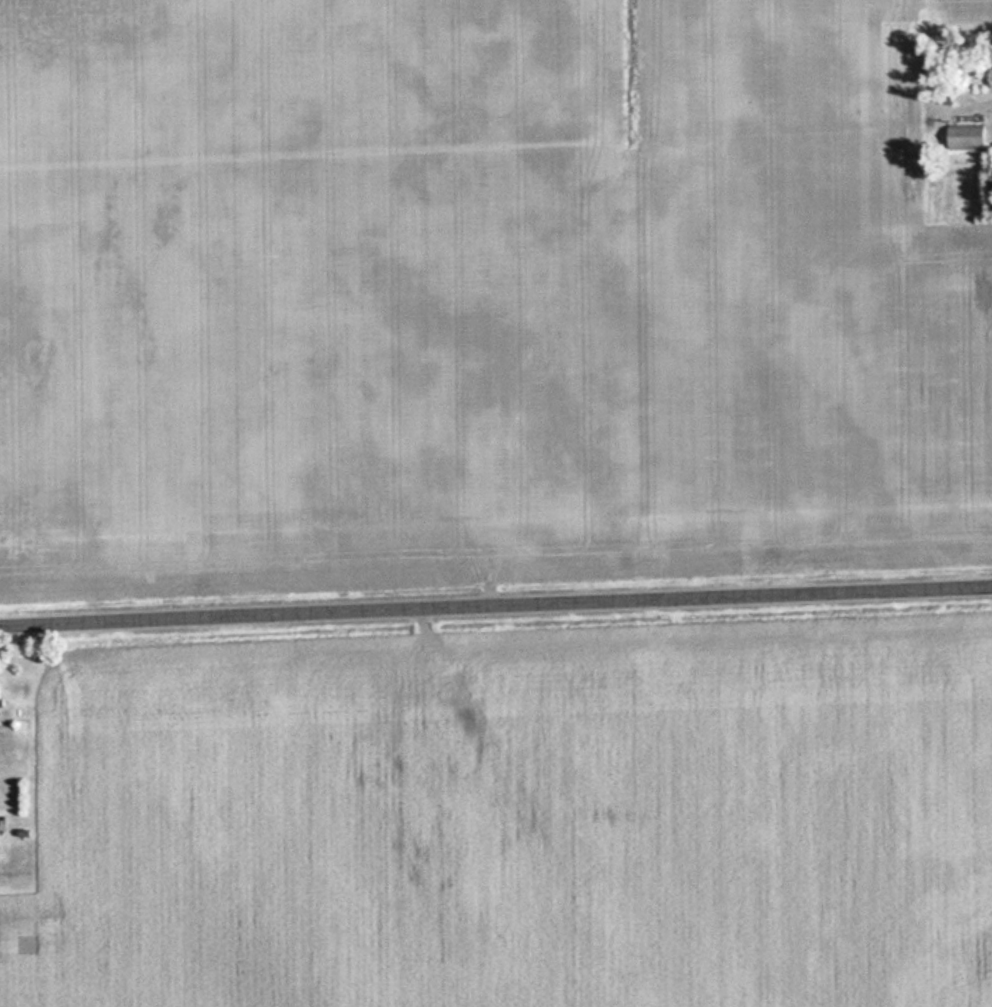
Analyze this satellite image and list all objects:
building: (962, 136)
road: (496, 606)

